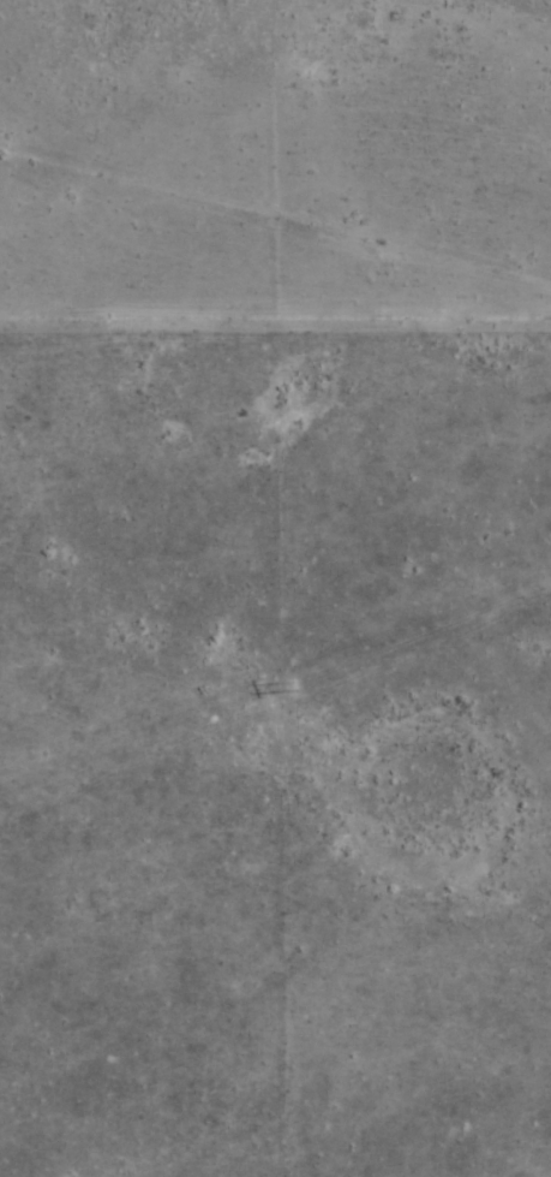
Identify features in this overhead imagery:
power tower: (297, 688)

